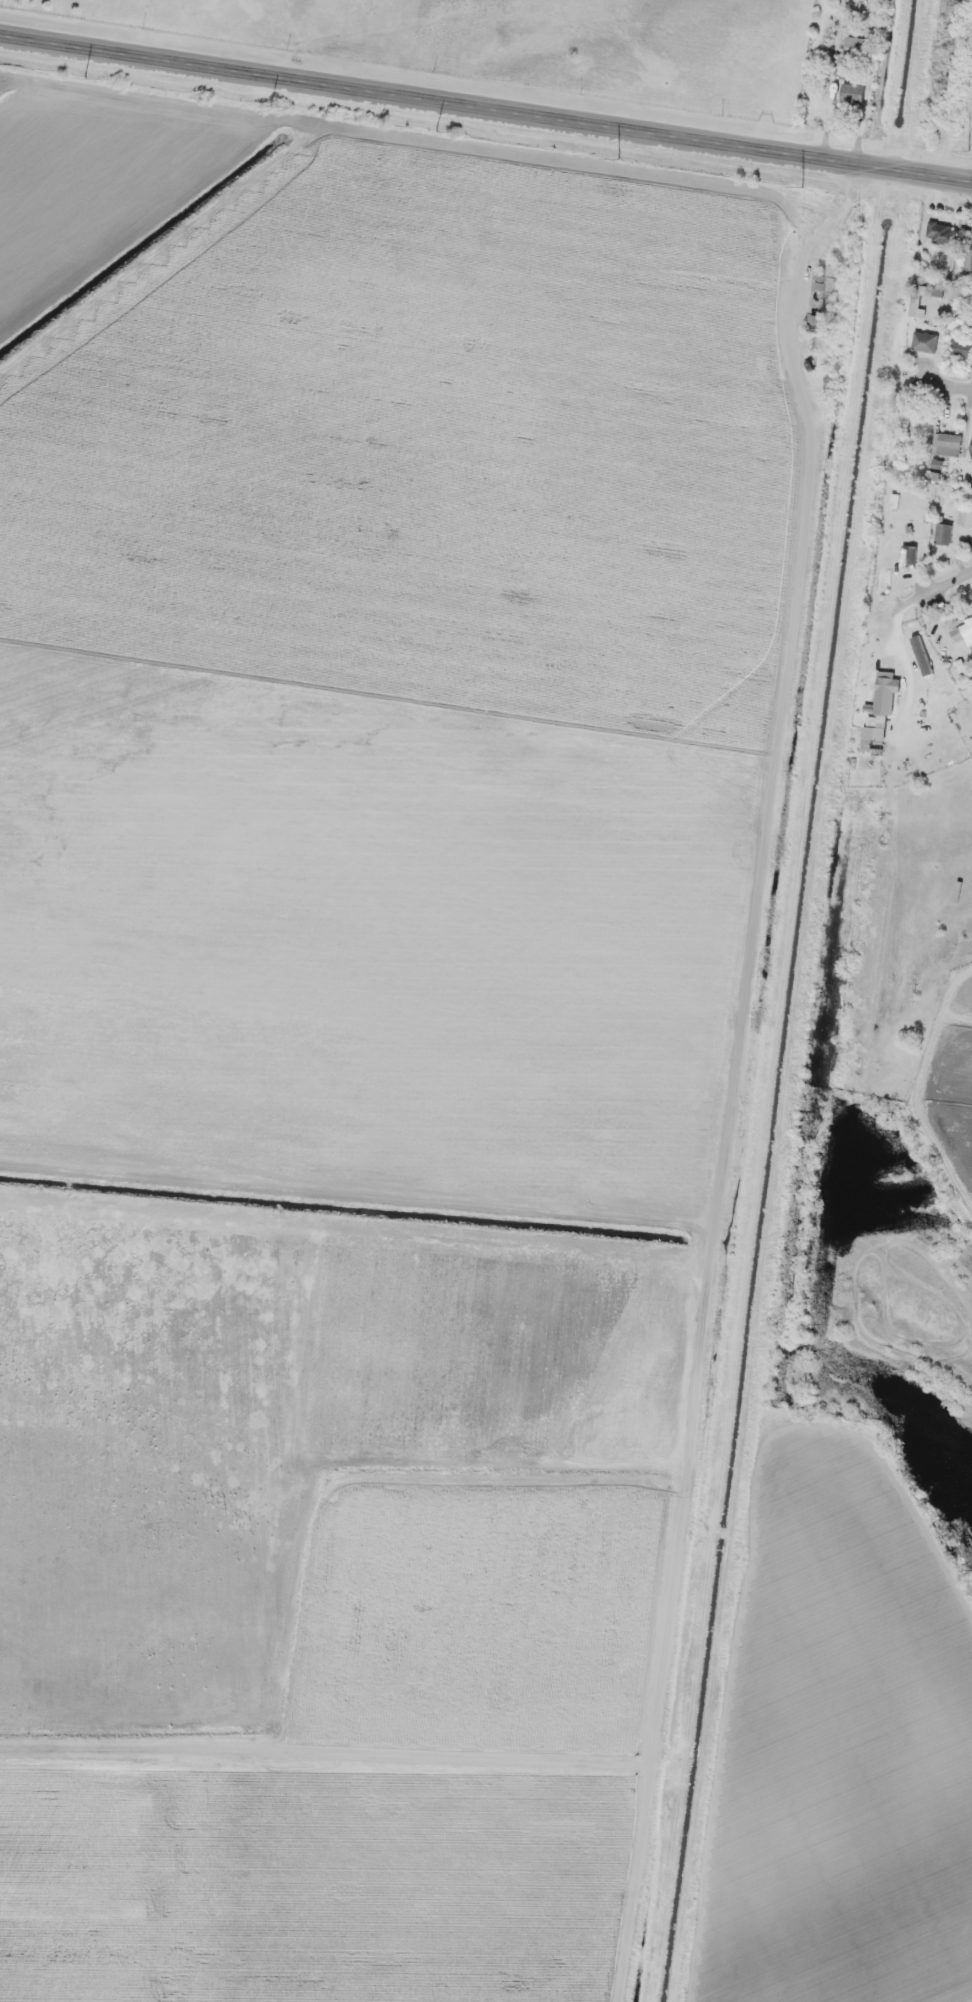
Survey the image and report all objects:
building: (854, 42)
building: (852, 93)
road: (485, 115)
building: (941, 233)
building: (968, 260)
building: (823, 301)
building: (925, 341)
building: (962, 349)
road: (945, 380)
building: (947, 444)
building: (971, 448)
building: (965, 517)
building: (943, 533)
building: (908, 555)
building: (885, 575)
road: (940, 585)
building: (961, 633)
building: (879, 712)

